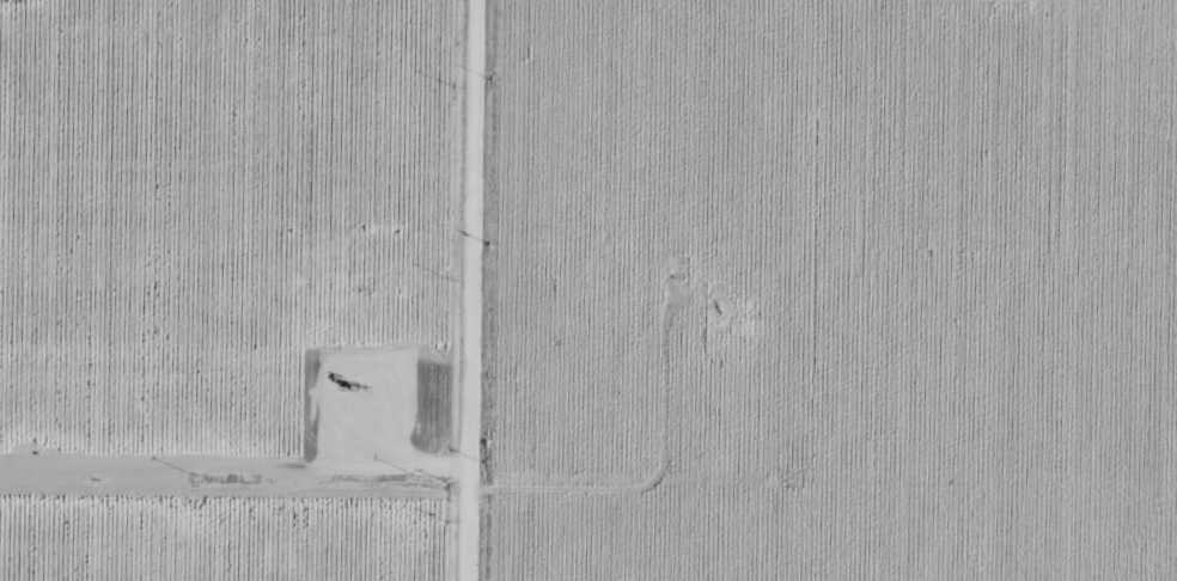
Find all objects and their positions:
road: (472, 290)
road: (236, 375)

